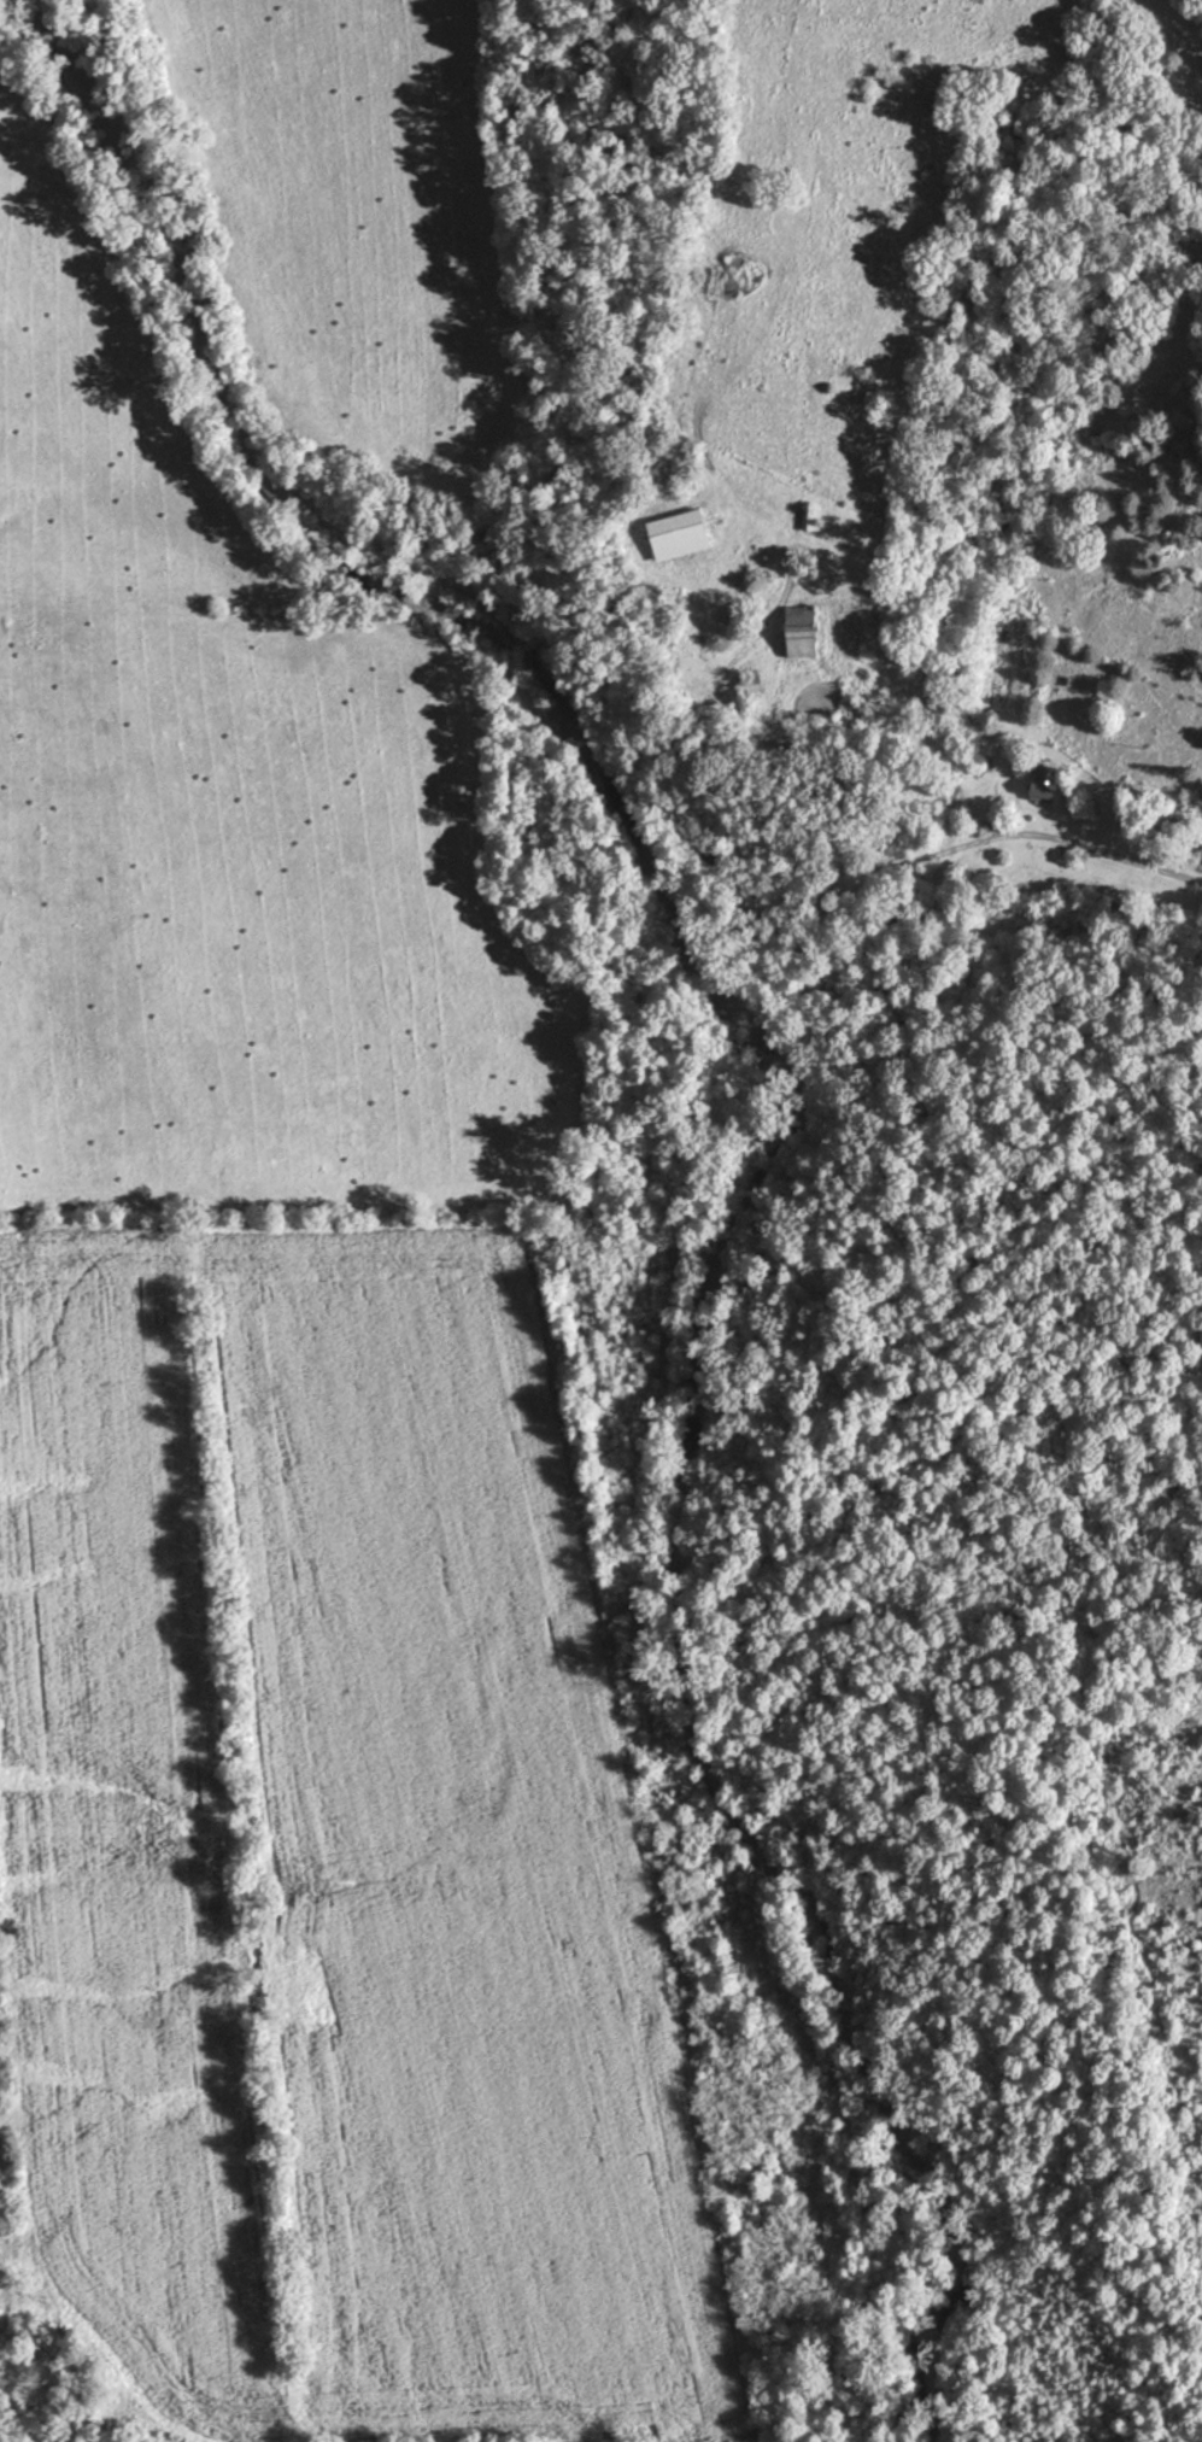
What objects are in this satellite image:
building: (813, 519)
building: (681, 534)
building: (804, 631)
building: (754, 686)
road: (962, 739)
building: (1045, 783)

